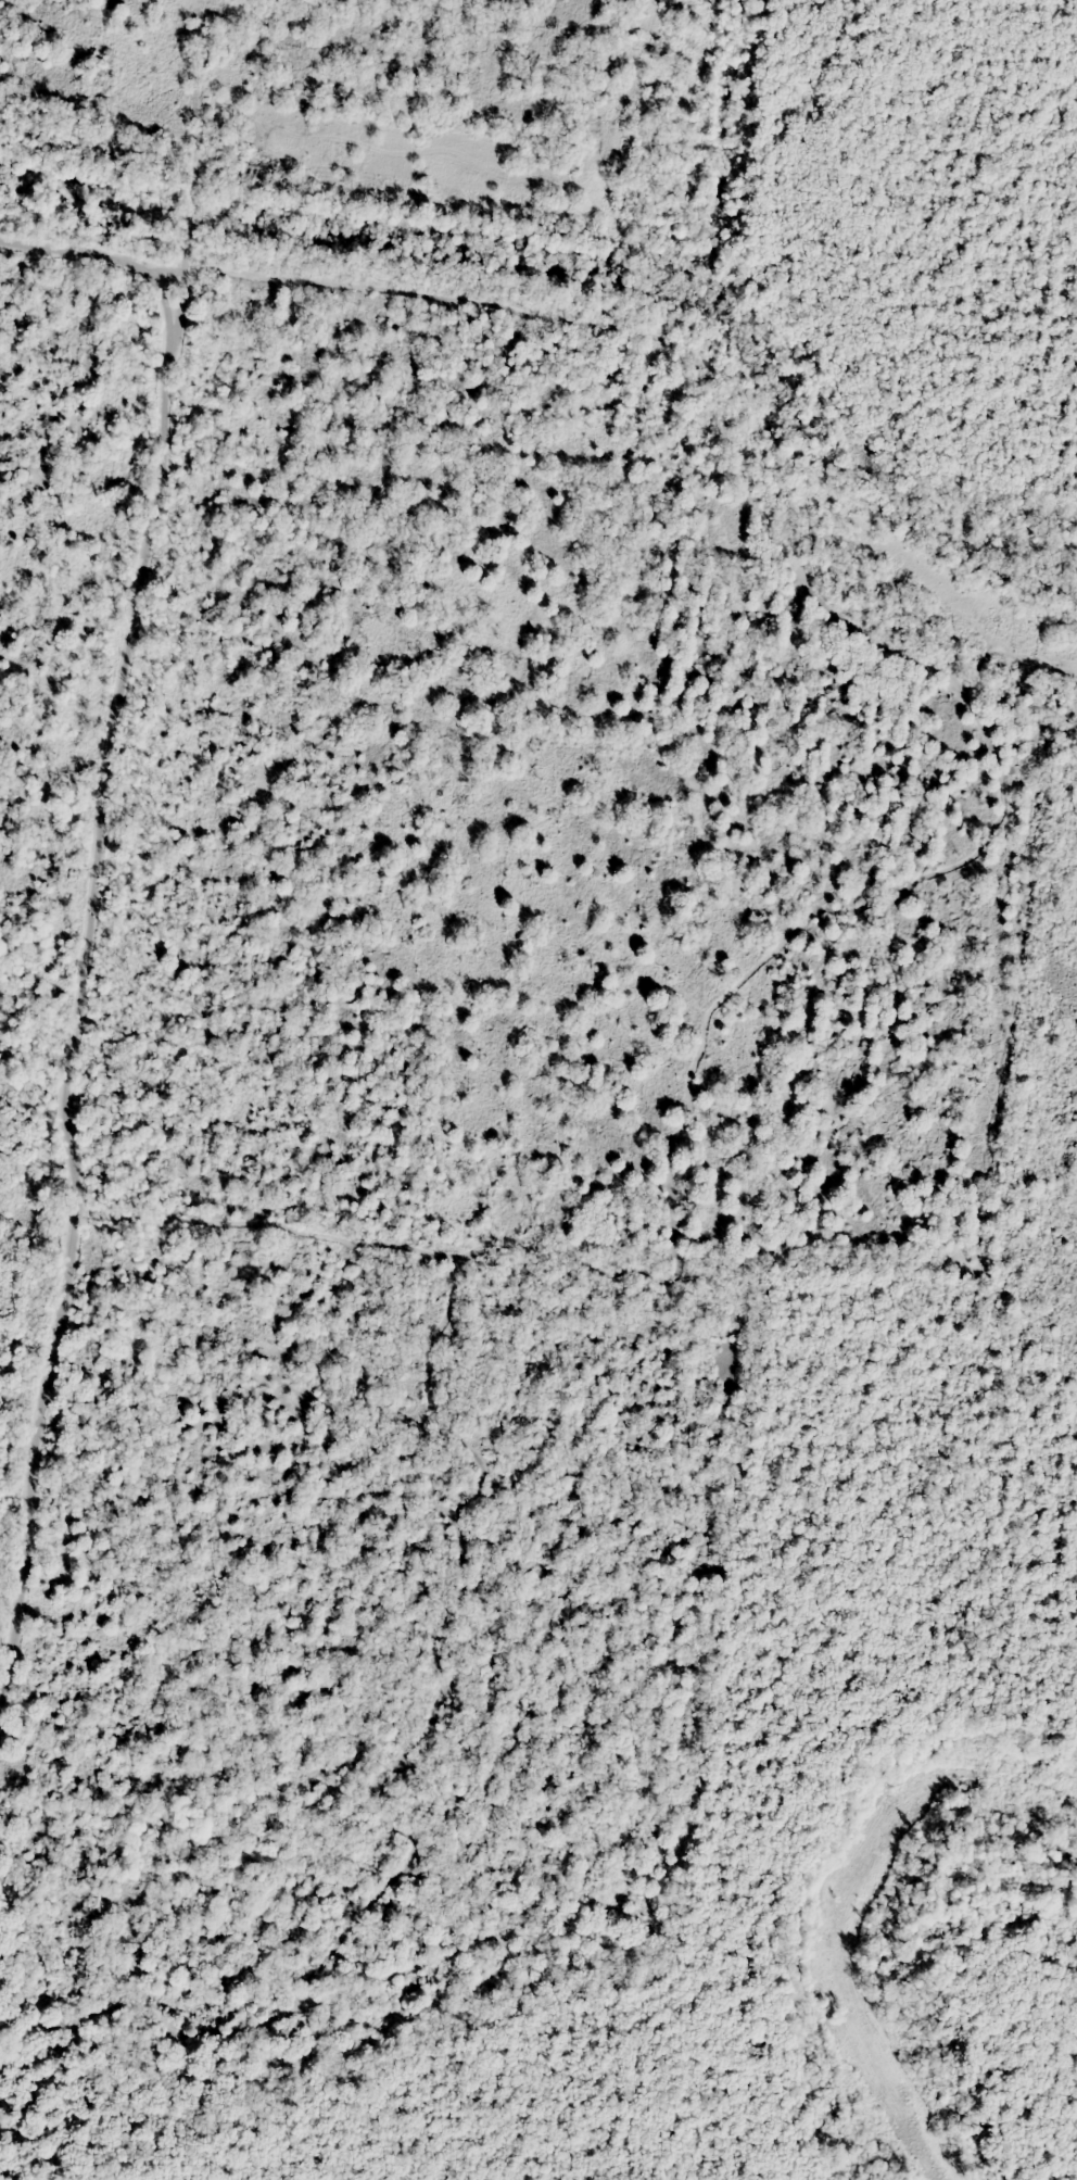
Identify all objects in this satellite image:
road: (104, 765)

